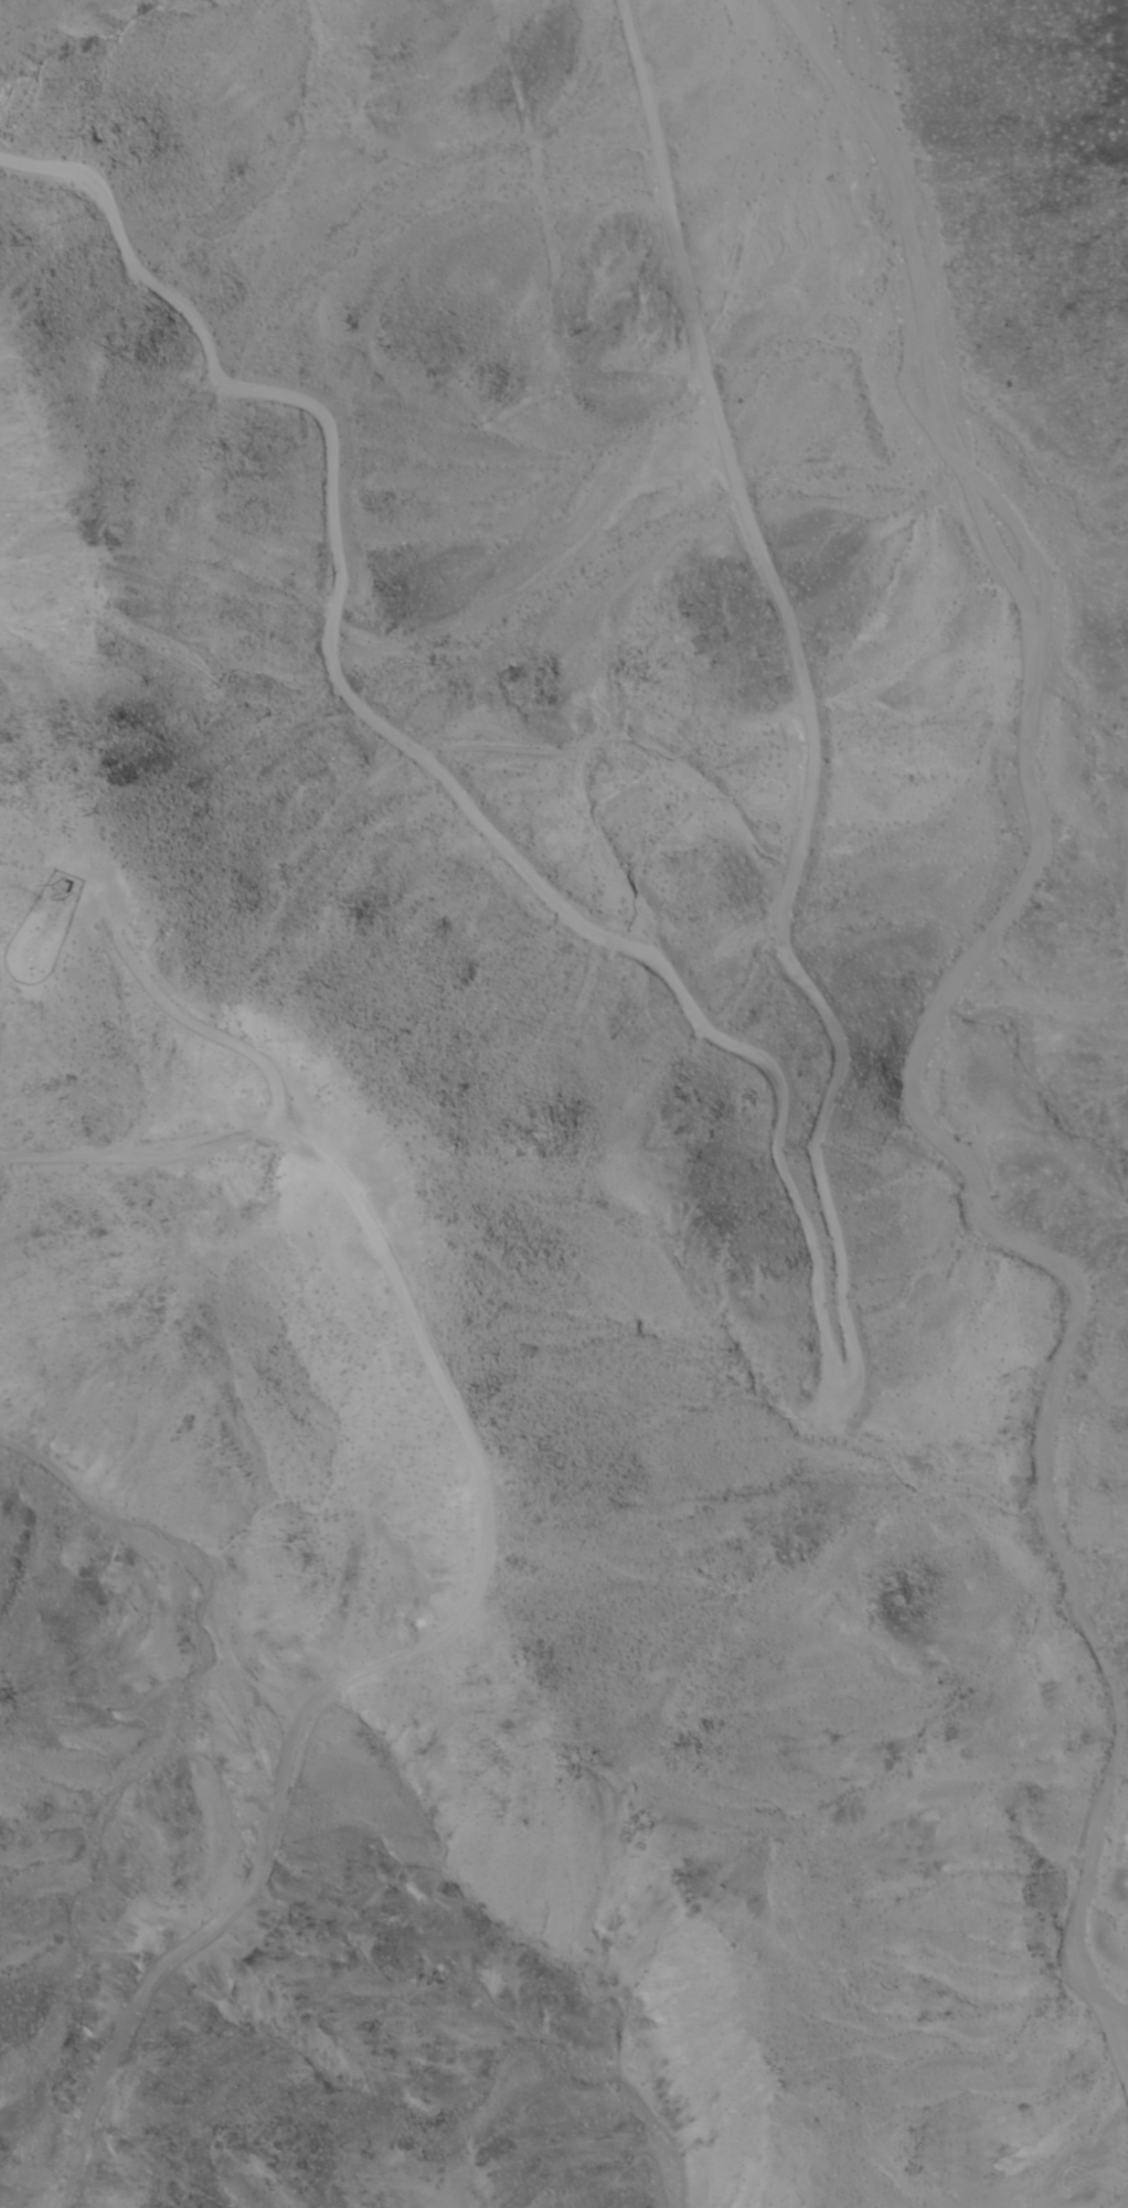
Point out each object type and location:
building: (64, 886)
road: (274, 1116)
road: (820, 1313)

